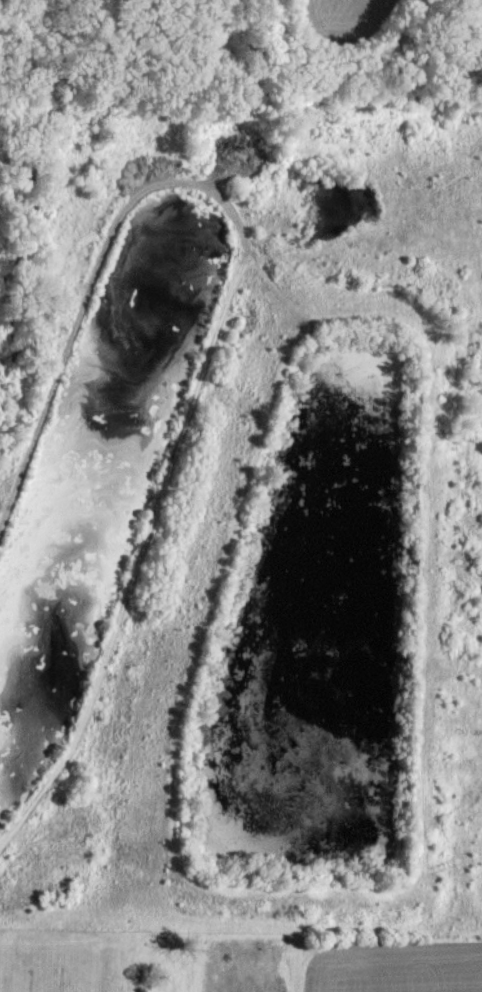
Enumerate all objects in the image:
road: (104, 244)
wastewater plant: (241, 506)

